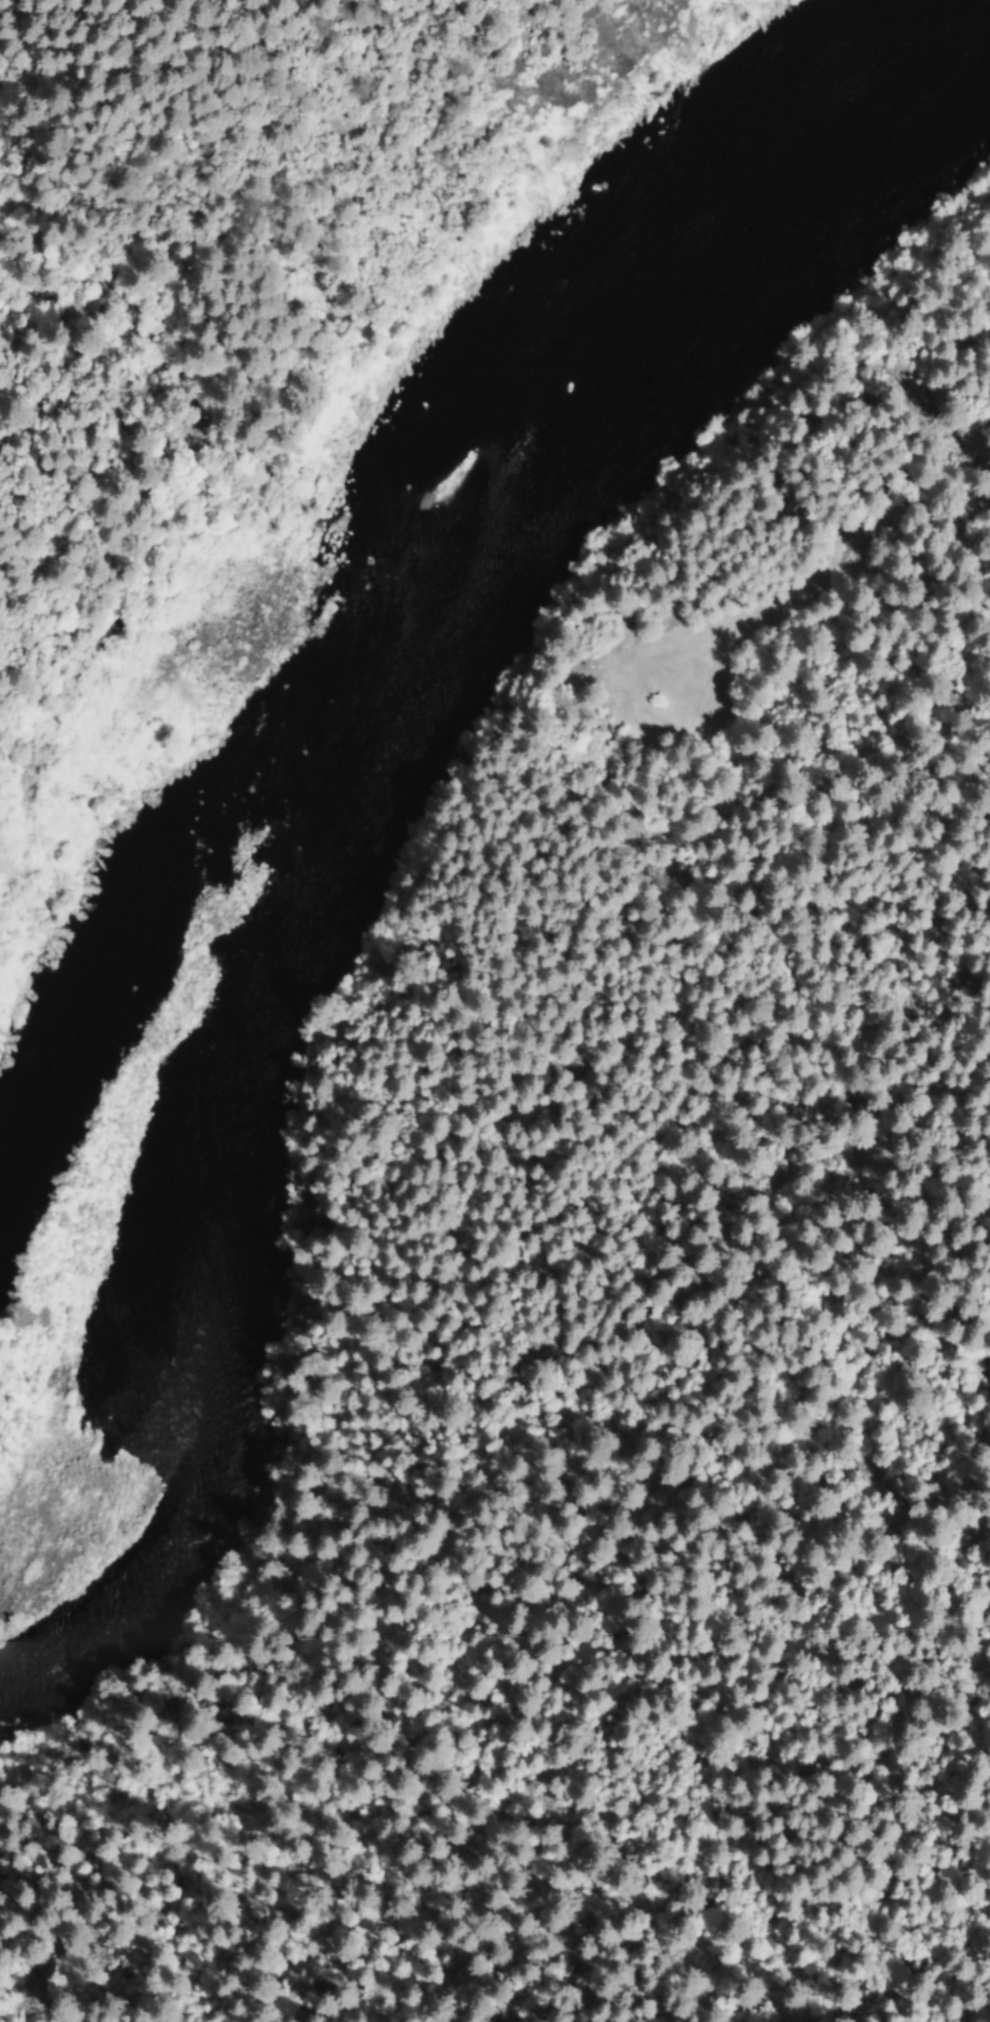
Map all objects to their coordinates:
road: (272, 39)
road: (264, 196)
road: (53, 410)
river: (354, 797)

